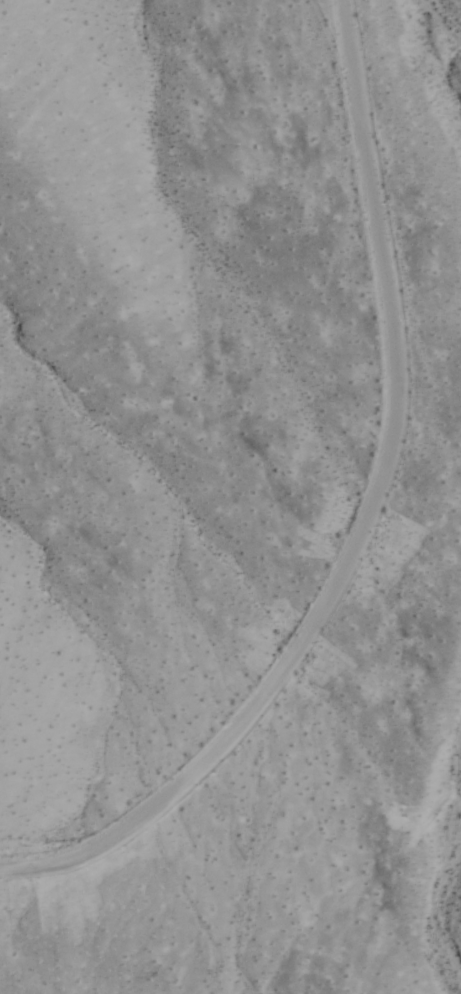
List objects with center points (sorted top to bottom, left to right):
road: (387, 236)
road: (219, 697)

